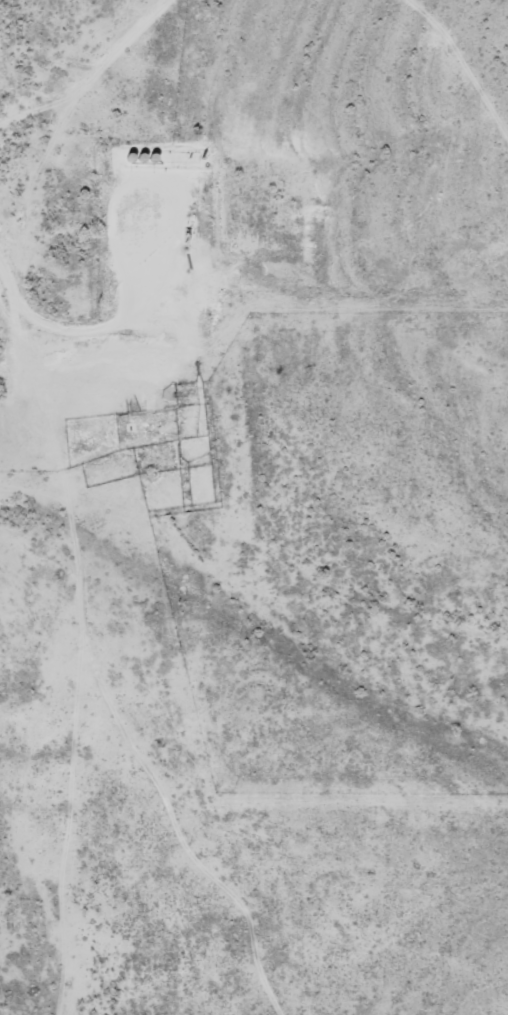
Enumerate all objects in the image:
road: (471, 51)
road: (97, 76)
road: (27, 172)
road: (35, 350)

